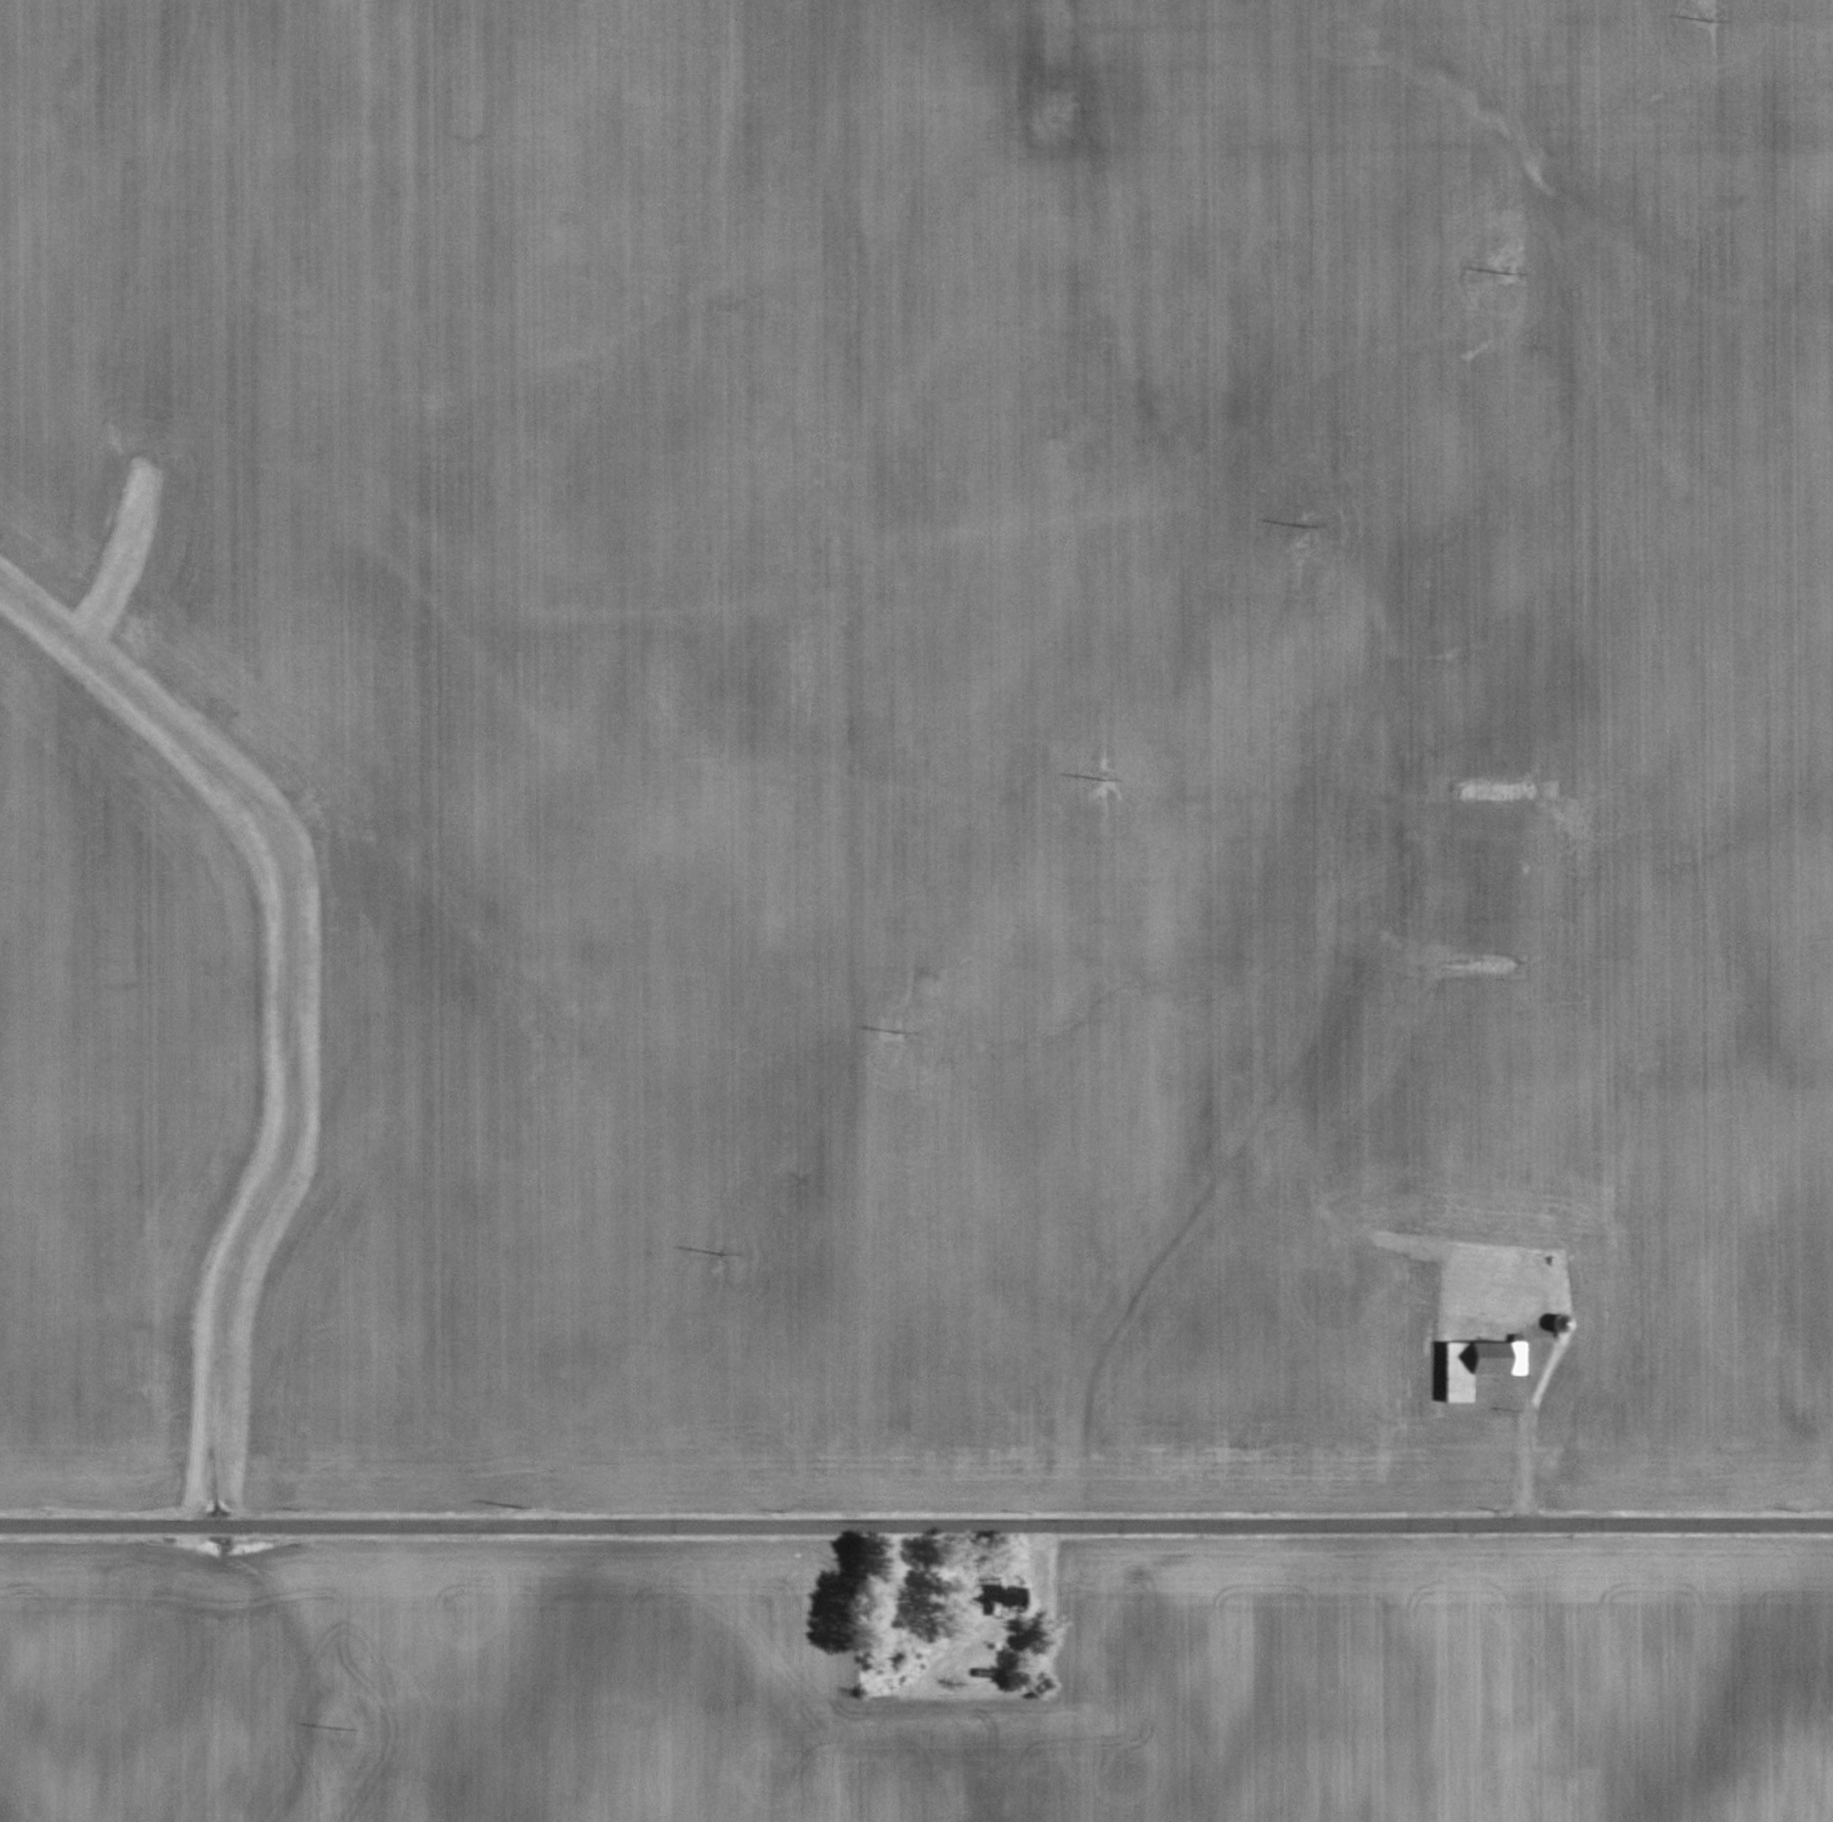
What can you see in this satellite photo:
building: (1475, 1357)
road: (1520, 1421)
road: (916, 1521)

